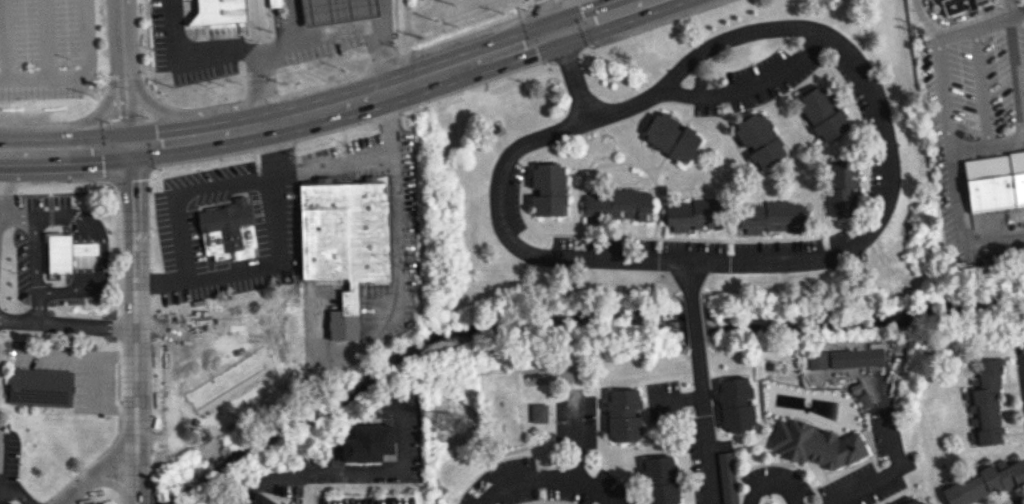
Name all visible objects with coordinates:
road: (274, 3)
building: (275, 3)
building: (958, 5)
road: (1013, 7)
building: (336, 10)
gas station: (336, 10)
building: (219, 11)
road: (552, 16)
road: (603, 16)
road: (962, 17)
road: (292, 20)
road: (924, 21)
road: (277, 24)
road: (981, 25)
traffic signals: (558, 32)
road: (328, 33)
road: (732, 37)
road: (6, 39)
road: (47, 40)
parking lot: (186, 47)
parking lot: (45, 48)
road: (381, 57)
road: (185, 60)
road: (470, 62)
road: (124, 72)
road: (574, 75)
road: (81, 78)
road: (1016, 79)
road: (260, 85)
road: (980, 88)
road: (946, 97)
parking lot: (970, 101)
road: (106, 107)
road: (168, 111)
building: (822, 112)
road: (257, 125)
building: (670, 136)
road: (65, 137)
building: (758, 140)
traffic signals: (130, 146)
road: (989, 148)
road: (66, 162)
road: (331, 165)
building: (994, 181)
building: (841, 187)
building: (547, 188)
road: (182, 191)
road: (2, 192)
building: (618, 203)
building: (691, 214)
building: (771, 217)
road: (1, 220)
road: (18, 220)
road: (963, 227)
parking lot: (1018, 229)
building: (227, 231)
road: (393, 234)
building: (344, 242)
building: (83, 248)
road: (103, 251)
building: (58, 253)
road: (34, 256)
road: (586, 260)
road: (274, 264)
road: (690, 279)
road: (36, 305)
road: (693, 321)
road: (66, 322)
road: (132, 325)
building: (1021, 345)
road: (76, 353)
building: (855, 357)
building: (816, 360)
building: (41, 387)
road: (178, 387)
road: (675, 399)
building: (862, 399)
building: (985, 403)
building: (734, 404)
building: (538, 412)
building: (622, 414)
power tower: (453, 421)
road: (702, 424)
building: (367, 443)
building: (813, 444)
road: (575, 468)
road: (94, 474)
road: (350, 474)
building: (726, 478)
building: (659, 480)
road: (771, 482)
road: (870, 482)
building: (985, 482)
road: (526, 488)
road: (13, 491)
building: (261, 499)
building: (914, 501)

